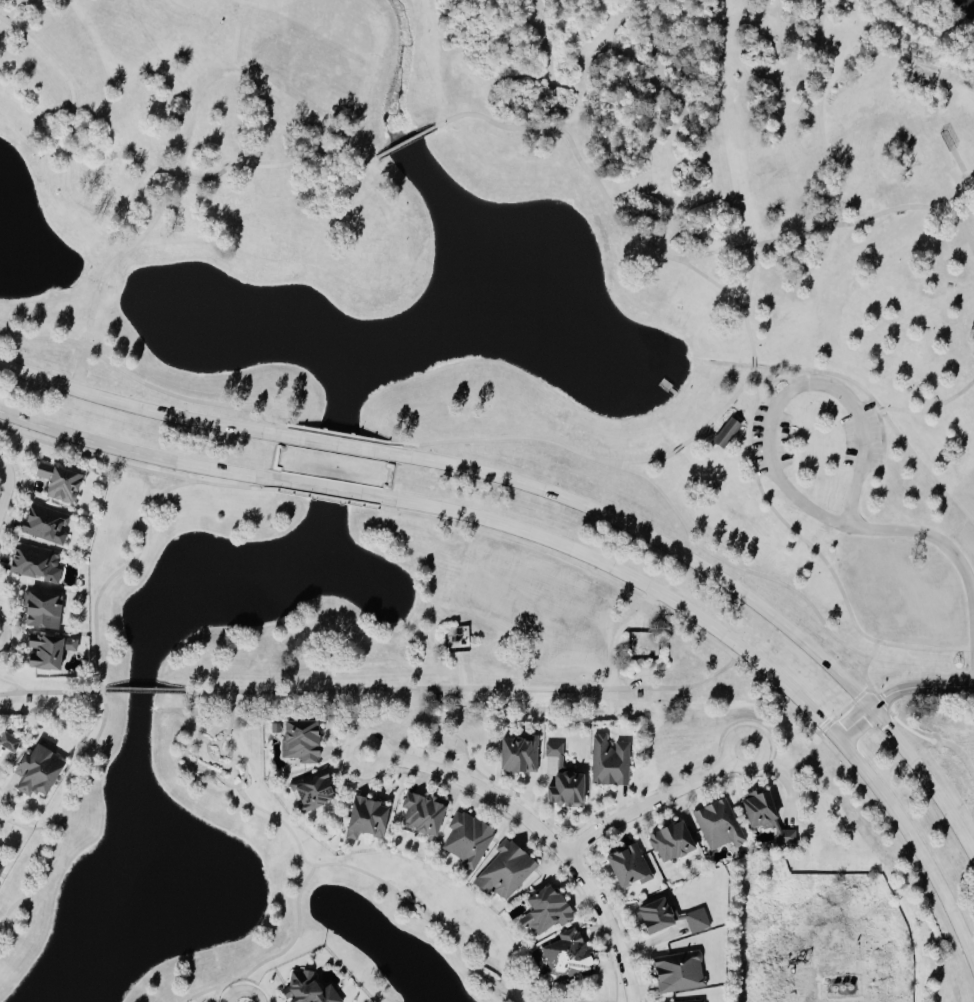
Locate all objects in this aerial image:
river: (971, 3)
road: (908, 10)
road: (821, 113)
road: (407, 142)
road: (601, 184)
road: (129, 204)
road: (912, 207)
road: (725, 251)
road: (757, 263)
road: (755, 362)
road: (140, 381)
pier: (667, 386)
road: (795, 387)
road: (139, 408)
road: (920, 411)
building: (726, 427)
park: (823, 430)
road: (337, 435)
parking lot: (769, 439)
parking lot: (861, 439)
road: (337, 446)
road: (136, 454)
road: (136, 468)
building: (62, 483)
road: (9, 485)
road: (328, 489)
road: (656, 493)
road: (327, 499)
park: (730, 507)
building: (47, 526)
road: (938, 540)
road: (819, 550)
building: (37, 564)
road: (731, 583)
building: (46, 612)
road: (738, 648)
building: (51, 652)
road: (746, 667)
road: (863, 674)
road: (12, 684)
road: (468, 690)
road: (898, 690)
road: (49, 692)
road: (140, 692)
road: (100, 695)
building: (304, 741)
building: (9, 742)
building: (521, 754)
building: (611, 762)
road: (189, 765)
building: (40, 772)
building: (566, 779)
building: (319, 789)
road: (656, 801)
building: (426, 813)
building: (769, 817)
building: (369, 818)
building: (718, 826)
road: (30, 828)
road: (542, 833)
building: (467, 837)
building: (672, 842)
building: (2, 865)
road: (323, 865)
building: (631, 867)
building: (507, 870)
building: (548, 911)
building: (659, 916)
building: (698, 921)
road: (277, 955)
building: (569, 956)
petroleum well: (802, 960)
building: (681, 972)
road: (816, 984)
building: (833, 987)
storage tank: (833, 987)
building: (840, 987)
storage tank: (840, 987)
building: (848, 987)
storage tank: (848, 987)
building: (309, 989)
building: (696, 1001)

